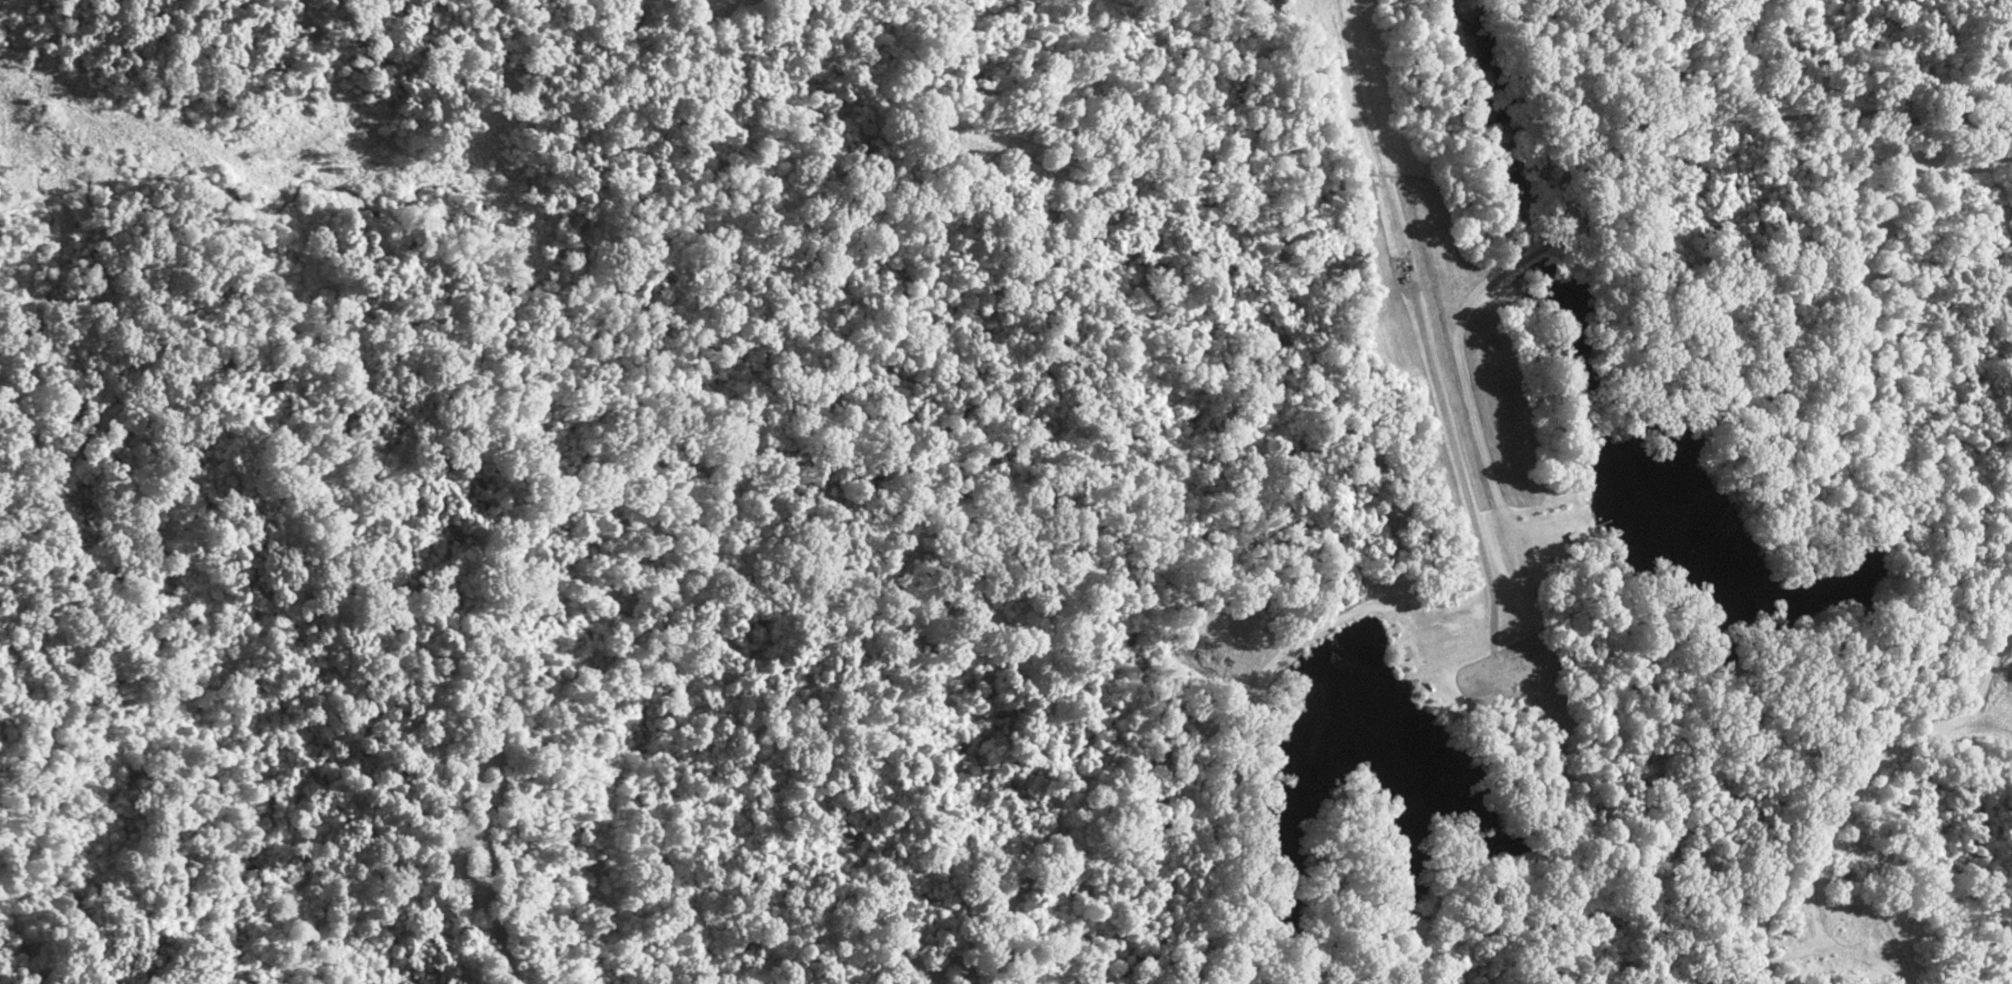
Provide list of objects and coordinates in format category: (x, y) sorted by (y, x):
road: (1418, 316)

